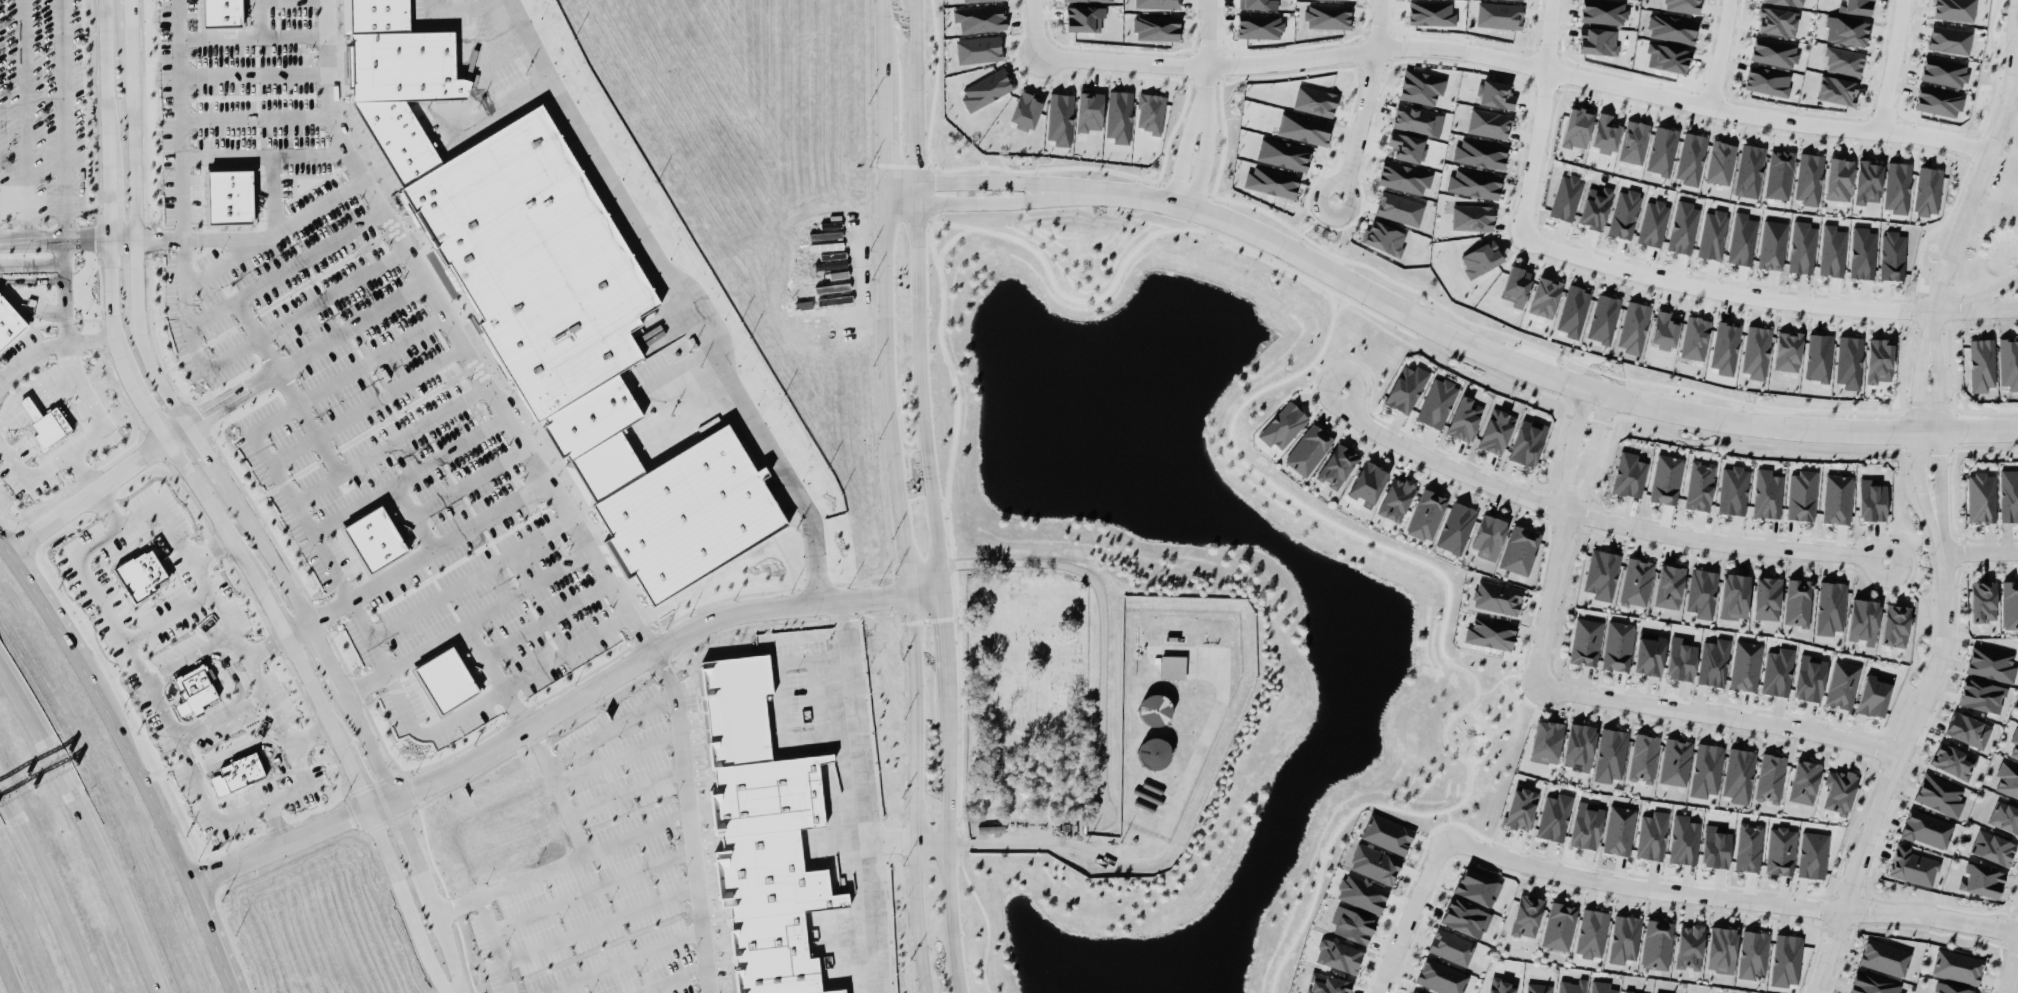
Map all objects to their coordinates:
building: (979, 0)
building: (1095, 0)
building: (1785, 2)
building: (1156, 3)
building: (1257, 4)
building: (1681, 5)
building: (1856, 6)
building: (1953, 9)
building: (1603, 11)
building: (1430, 12)
building: (221, 13)
building: (1499, 14)
building: (1327, 15)
road: (264, 17)
building: (979, 18)
building: (1083, 18)
building: (1776, 21)
building: (1259, 25)
road: (1036, 27)
building: (1155, 27)
building: (1671, 28)
building: (1846, 31)
road: (251, 34)
building: (1949, 39)
building: (1597, 41)
building: (978, 48)
building: (1773, 51)
road: (1720, 52)
building: (1667, 57)
road: (1517, 60)
building: (1843, 60)
road: (1206, 62)
road: (1890, 65)
road: (252, 71)
building: (1943, 71)
building: (1767, 80)
building: (1420, 86)
building: (986, 88)
building: (424, 90)
building: (1837, 90)
road: (1367, 93)
building: (1495, 94)
building: (1314, 100)
building: (1938, 100)
building: (1025, 109)
building: (1089, 110)
building: (1150, 112)
road: (253, 118)
building: (1059, 118)
road: (1539, 118)
road: (23, 119)
road: (61, 119)
building: (1414, 119)
building: (1488, 123)
building: (1576, 127)
building: (1303, 128)
parking lot: (46, 129)
building: (1604, 133)
building: (1633, 141)
building: (1406, 147)
building: (1662, 150)
building: (1479, 153)
road: (263, 156)
building: (1690, 158)
building: (1720, 162)
building: (1749, 170)
building: (1779, 174)
building: (1403, 177)
road: (1978, 177)
building: (1808, 178)
building: (1838, 179)
road: (962, 180)
building: (1271, 181)
building: (1867, 182)
building: (1474, 183)
road: (1329, 184)
building: (1897, 187)
building: (1927, 191)
road: (271, 195)
parking lot: (321, 195)
building: (229, 196)
building: (1565, 197)
road: (962, 201)
road: (1180, 202)
building: (1595, 207)
building: (1399, 208)
building: (1624, 213)
building: (1471, 217)
building: (1652, 223)
building: (1682, 227)
road: (273, 232)
building: (1712, 234)
road: (203, 236)
building: (1384, 237)
road: (67, 239)
building: (1742, 239)
building: (1772, 244)
building: (1802, 247)
building: (1832, 250)
building: (1861, 253)
building: (1892, 255)
building: (1480, 258)
building: (831, 260)
road: (27, 265)
road: (283, 269)
building: (556, 270)
building: (838, 274)
building: (1516, 285)
building: (831, 287)
road: (56, 289)
road: (680, 296)
road: (1764, 296)
building: (1544, 297)
building: (834, 299)
road: (182, 302)
building: (1573, 310)
building: (1603, 318)
building: (9, 322)
building: (1633, 327)
building: (1665, 329)
road: (456, 336)
building: (1694, 337)
road: (52, 342)
building: (1725, 347)
building: (1787, 350)
road: (304, 351)
building: (1756, 351)
building: (1818, 357)
building: (1879, 360)
building: (1848, 361)
road: (1515, 362)
building: (2008, 362)
building: (1981, 364)
road: (31, 384)
road: (285, 385)
building: (1406, 388)
building: (1436, 401)
road: (366, 404)
building: (1464, 419)
road: (183, 420)
road: (889, 421)
road: (923, 421)
road: (1575, 423)
building: (1283, 425)
road: (156, 426)
building: (49, 427)
road: (1937, 428)
road: (1596, 430)
road: (1916, 430)
building: (1495, 431)
road: (85, 439)
road: (387, 441)
building: (1527, 442)
building: (1308, 449)
building: (1337, 466)
road: (79, 471)
road: (407, 474)
building: (1629, 475)
building: (1666, 478)
road: (467, 482)
building: (1699, 485)
road: (95, 486)
building: (1733, 490)
building: (1767, 493)
building: (1802, 495)
building: (2009, 495)
building: (1981, 497)
building: (1396, 498)
building: (1837, 498)
building: (1871, 500)
road: (106, 508)
building: (1426, 514)
road: (411, 516)
building: (687, 518)
road: (1597, 518)
building: (1456, 527)
road: (119, 529)
building: (1488, 536)
building: (373, 539)
parking lot: (438, 544)
road: (210, 548)
building: (1519, 550)
road: (1980, 550)
road: (415, 557)
road: (1553, 573)
building: (1602, 574)
building: (140, 575)
road: (470, 577)
building: (1636, 581)
road: (527, 586)
building: (1669, 586)
road: (341, 587)
building: (1701, 592)
building: (1734, 596)
building: (1496, 597)
building: (1767, 597)
building: (1983, 601)
building: (1797, 602)
building: (2009, 604)
building: (1830, 607)
road: (167, 615)
road: (547, 618)
building: (1863, 620)
building: (1895, 625)
building: (1489, 632)
building: (1585, 641)
road: (236, 645)
building: (1617, 645)
building: (1649, 653)
road: (188, 656)
road: (246, 656)
building: (1680, 658)
road: (405, 659)
building: (1713, 662)
building: (1991, 663)
building: (1745, 665)
building: (1172, 666)
building: (1777, 671)
road: (495, 676)
building: (1809, 677)
building: (444, 680)
building: (1841, 684)
building: (195, 688)
building: (1873, 694)
park: (1027, 695)
building: (1981, 695)
road: (560, 707)
road: (162, 708)
building: (1154, 709)
road: (221, 714)
road: (1715, 714)
road: (611, 727)
building: (1967, 729)
building: (581, 731)
road: (310, 735)
building: (1546, 741)
building: (2014, 743)
building: (1579, 746)
building: (1152, 752)
road: (1898, 752)
building: (1610, 754)
road: (616, 757)
building: (1643, 757)
road: (129, 760)
building: (1952, 760)
building: (1675, 761)
building: (1706, 769)
building: (237, 773)
park: (1424, 773)
building: (1738, 774)
road: (304, 776)
building: (1770, 777)
building: (2007, 779)
building: (1804, 781)
road: (558, 790)
building: (1840, 791)
road: (625, 793)
building: (1939, 794)
road: (856, 796)
road: (206, 801)
building: (1520, 808)
building: (1554, 817)
building: (2004, 817)
building: (1586, 824)
road: (88, 826)
building: (1926, 829)
building: (1618, 830)
building: (1386, 833)
road: (640, 834)
building: (1651, 835)
building: (1683, 839)
road: (887, 842)
building: (1715, 846)
building: (1748, 847)
building: (1992, 847)
road: (1149, 848)
building: (1780, 850)
building: (1812, 854)
building: (1374, 863)
building: (1912, 866)
building: (769, 870)
building: (1982, 880)
building: (1477, 887)
road: (48, 888)
road: (591, 891)
building: (1361, 893)
road: (430, 894)
road: (1728, 897)
road: (698, 898)
road: (404, 901)
road: (1408, 912)
building: (1526, 915)
road: (916, 917)
road: (952, 917)
building: (1465, 917)
building: (1351, 924)
road: (600, 925)
building: (1559, 925)
building: (1591, 933)
building: (1624, 938)
road: (495, 944)
building: (1656, 944)
building: (1451, 946)
building: (1689, 946)
building: (1721, 949)
building: (1753, 953)
building: (1337, 955)
building: (1884, 957)
building: (1786, 959)
road: (2010, 960)
road: (625, 961)
building: (1956, 966)
road: (8, 972)
building: (1441, 977)
road: (677, 980)
building: (1872, 983)
building: (1326, 984)
building: (1499, 986)
building: (1571, 986)
building: (1600, 987)
building: (1537, 988)
building: (1951, 989)
building: (1411, 992)
building: (1628, 992)

